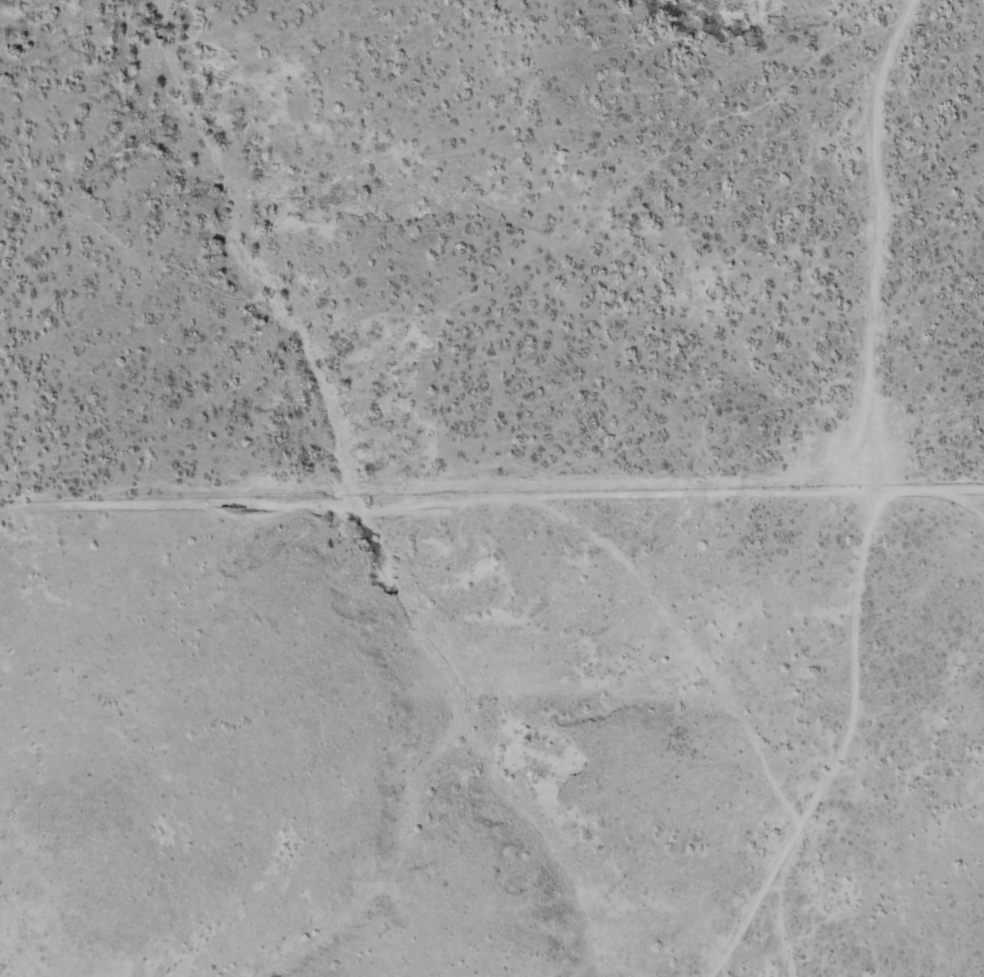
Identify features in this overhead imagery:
road: (852, 501)

